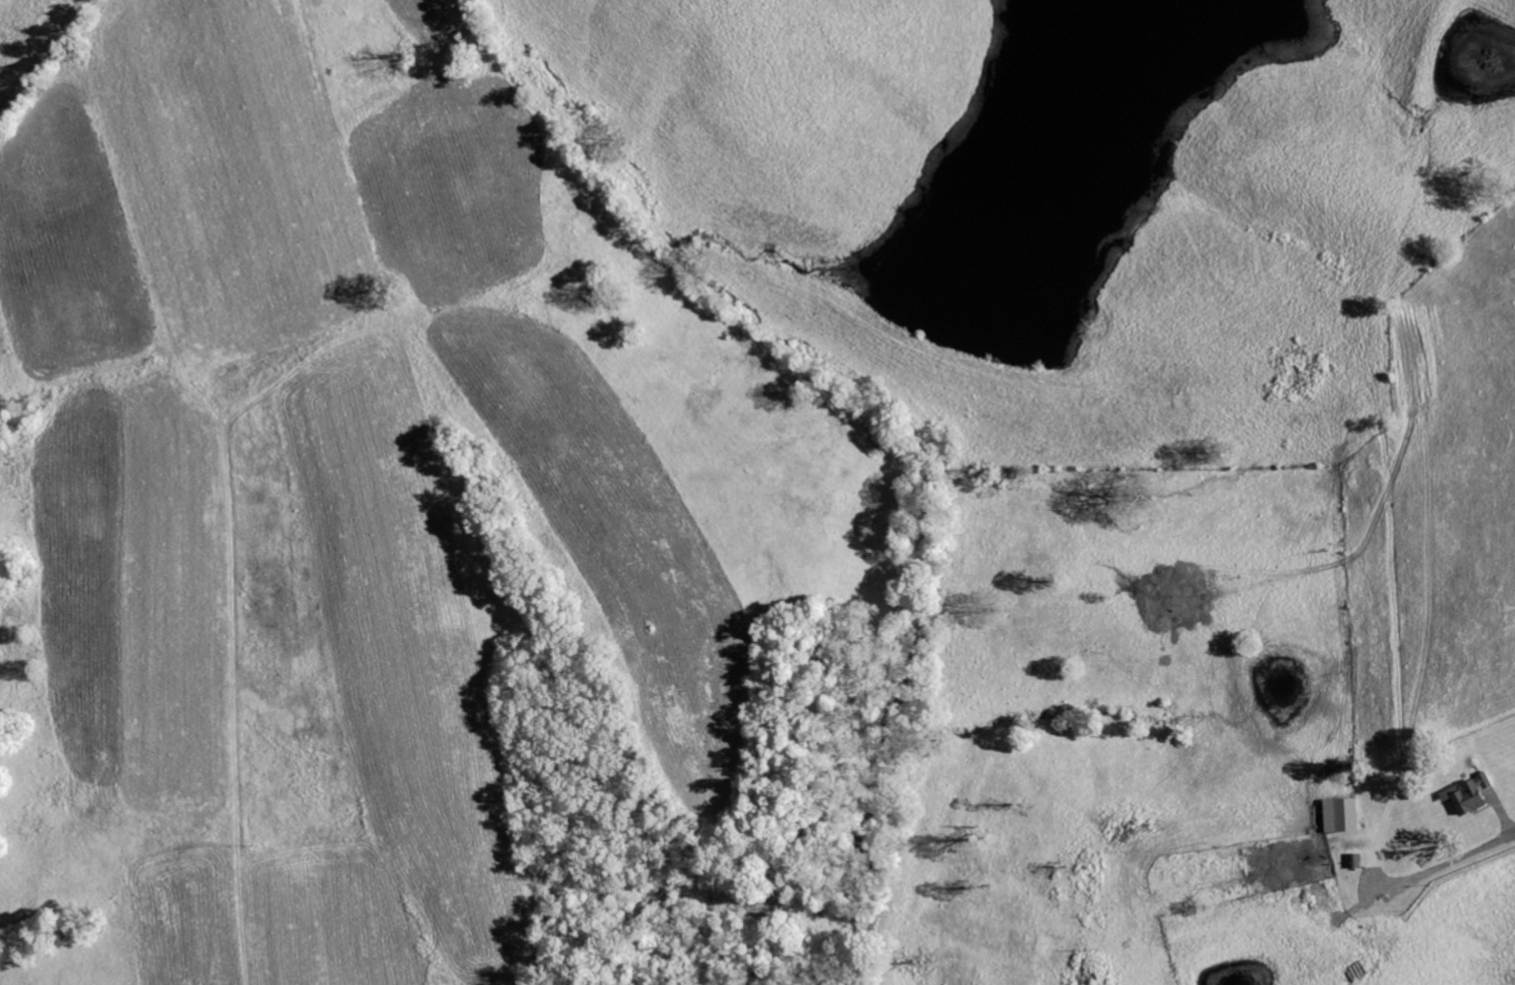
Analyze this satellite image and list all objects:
road: (43, 58)
building: (1469, 794)
building: (1342, 815)
road: (1457, 861)
building: (1382, 935)

